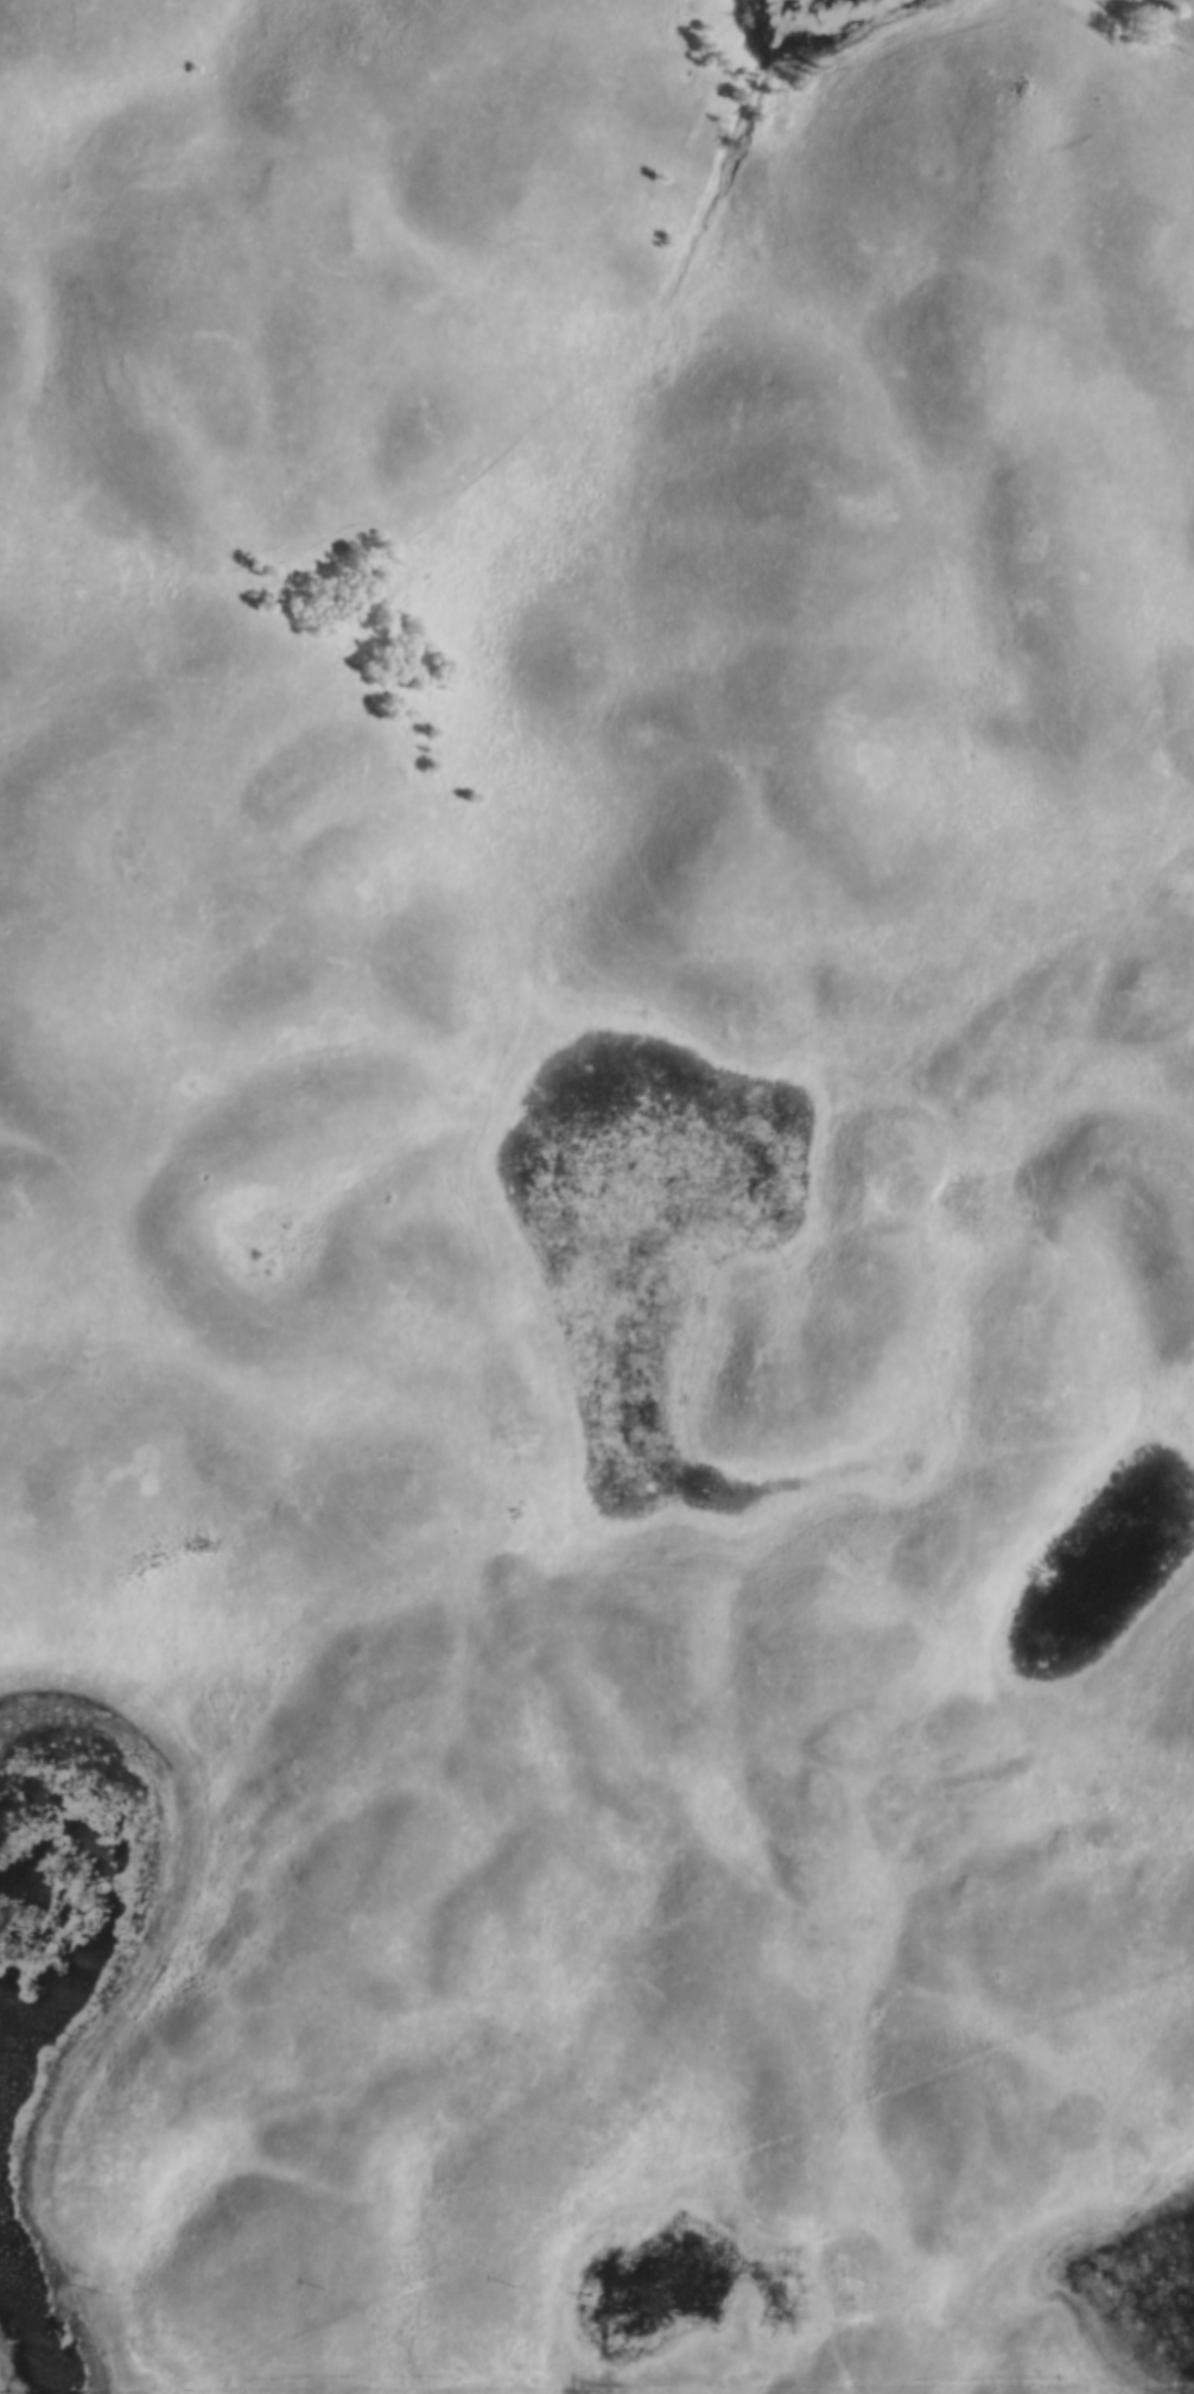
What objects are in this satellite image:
road: (1155, 21)

